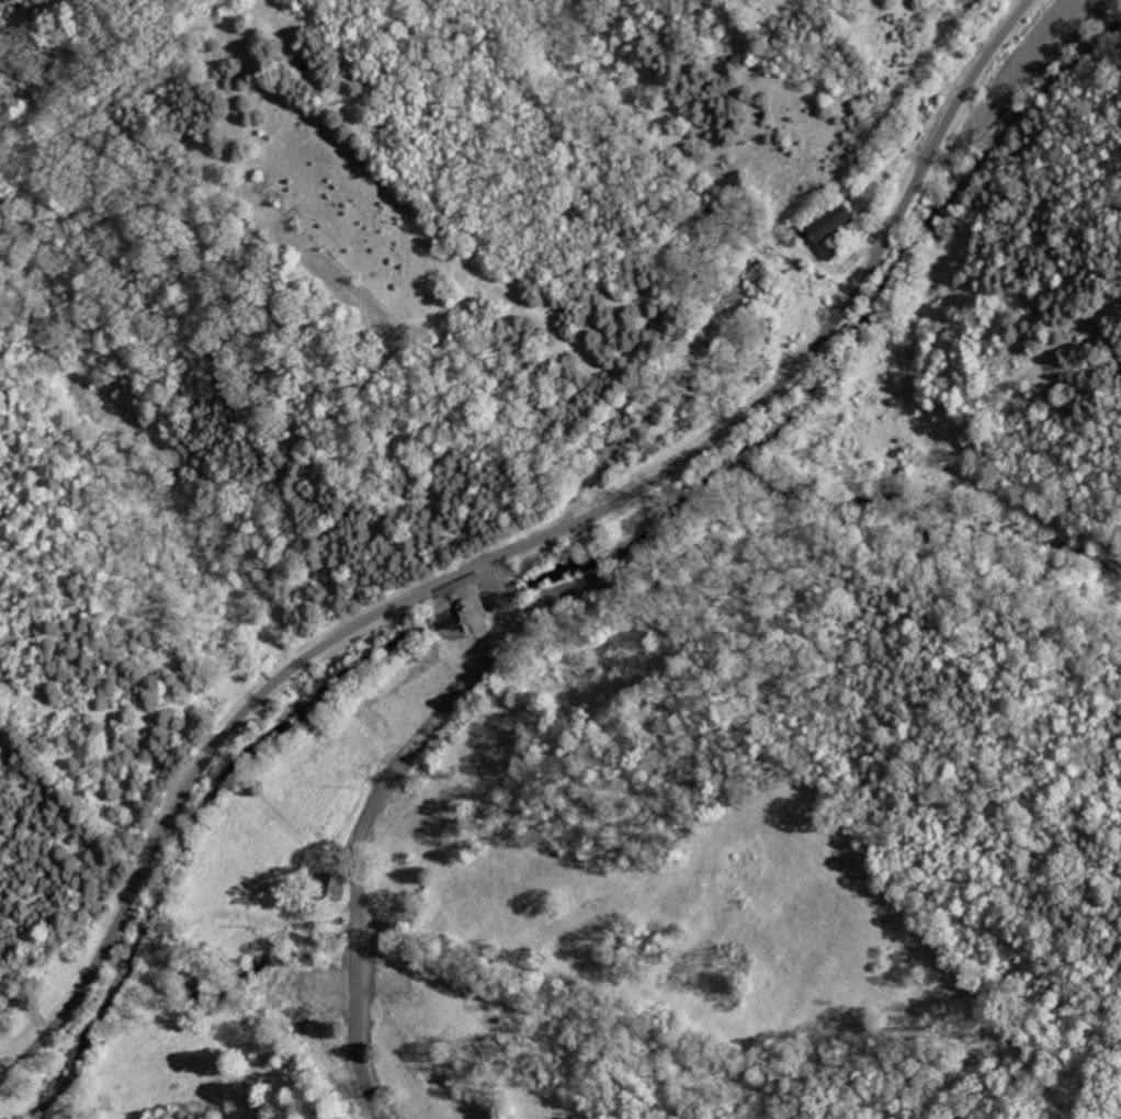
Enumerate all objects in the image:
building: (835, 224)
road: (522, 547)

